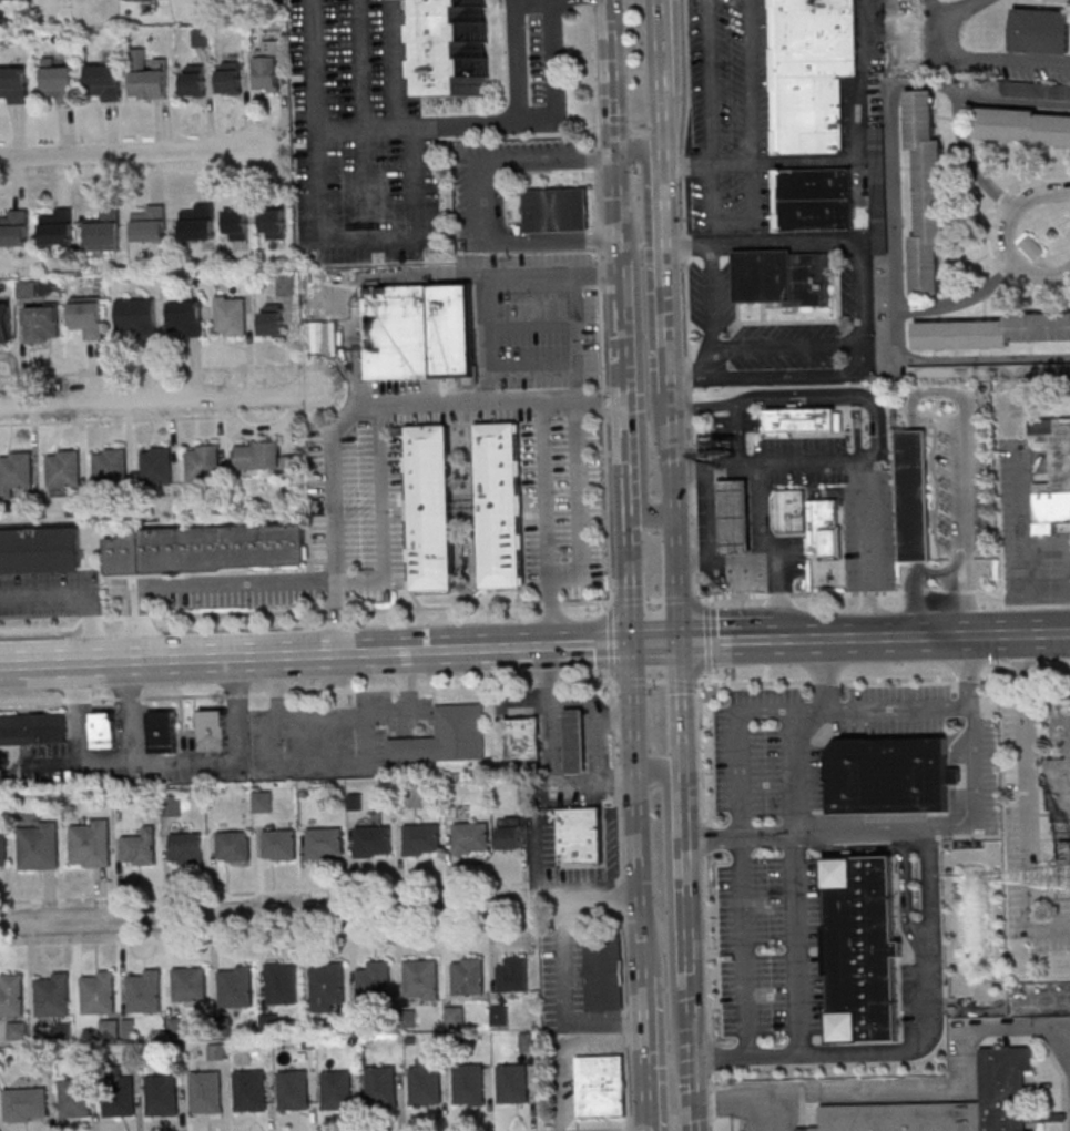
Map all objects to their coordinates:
building: (1041, 30)
building: (201, 38)
road: (659, 40)
building: (461, 47)
road: (979, 57)
road: (395, 63)
building: (268, 64)
road: (316, 65)
building: (813, 73)
building: (149, 75)
road: (611, 75)
building: (230, 78)
building: (193, 80)
building: (59, 81)
building: (104, 81)
road: (710, 82)
building: (13, 84)
road: (891, 108)
road: (537, 122)
building: (1022, 128)
road: (855, 150)
traffic signals: (614, 151)
road: (139, 155)
road: (507, 159)
road: (972, 160)
road: (687, 167)
building: (878, 174)
road: (319, 180)
building: (927, 194)
building: (814, 198)
building: (557, 210)
building: (196, 221)
building: (149, 223)
building: (273, 223)
building: (236, 224)
building: (58, 226)
building: (13, 227)
building: (104, 230)
road: (1008, 236)
road: (550, 242)
building: (1032, 246)
building: (782, 276)
road: (416, 277)
road: (652, 284)
building: (26, 288)
road: (600, 302)
road: (686, 302)
road: (712, 302)
building: (231, 315)
building: (88, 316)
building: (136, 316)
road: (862, 316)
building: (185, 318)
building: (272, 319)
building: (4, 323)
building: (41, 323)
building: (419, 332)
building: (992, 332)
road: (575, 339)
road: (787, 347)
road: (897, 356)
road: (670, 360)
road: (144, 369)
building: (989, 370)
road: (626, 396)
road: (159, 400)
road: (641, 405)
road: (374, 407)
building: (801, 419)
road: (882, 422)
building: (265, 458)
building: (202, 462)
building: (110, 465)
building: (155, 465)
road: (766, 465)
building: (62, 468)
building: (14, 471)
building: (1052, 475)
road: (915, 495)
building: (914, 496)
building: (499, 501)
road: (962, 503)
building: (429, 506)
building: (787, 510)
building: (732, 516)
gas station: (732, 516)
road: (551, 526)
building: (823, 529)
road: (1048, 544)
building: (206, 548)
building: (40, 550)
road: (773, 551)
road: (309, 581)
road: (80, 597)
road: (916, 599)
road: (304, 611)
road: (706, 636)
road: (888, 636)
road: (610, 640)
road: (694, 640)
road: (658, 641)
traffic signals: (681, 641)
traffic signals: (634, 642)
road: (317, 655)
road: (968, 670)
road: (822, 672)
road: (889, 677)
road: (305, 691)
road: (594, 705)
road: (792, 707)
road: (615, 719)
building: (1062, 721)
building: (32, 728)
building: (103, 730)
building: (213, 731)
building: (163, 732)
building: (446, 736)
building: (522, 738)
building: (573, 741)
gas station: (573, 741)
road: (105, 761)
road: (793, 771)
building: (888, 775)
building: (1059, 784)
road: (1025, 801)
building: (262, 802)
road: (640, 807)
road: (942, 829)
building: (511, 832)
building: (579, 835)
building: (471, 837)
road: (741, 837)
building: (422, 838)
building: (374, 840)
building: (90, 842)
building: (325, 843)
building: (38, 844)
building: (279, 844)
building: (234, 845)
building: (140, 847)
building: (186, 847)
building: (3, 850)
road: (537, 862)
road: (579, 885)
road: (687, 886)
road: (309, 890)
road: (706, 896)
road: (619, 904)
road: (322, 913)
road: (672, 921)
road: (308, 930)
road: (799, 942)
road: (745, 946)
building: (859, 948)
building: (513, 975)
building: (603, 975)
building: (468, 976)
building: (421, 979)
building: (375, 981)
building: (282, 982)
building: (190, 984)
building: (236, 986)
building: (328, 986)
building: (143, 987)
building: (98, 991)
building: (52, 994)
building: (11, 995)
road: (561, 1006)
building: (500, 1015)
building: (455, 1016)
building: (110, 1029)
building: (17, 1030)
road: (915, 1047)
building: (217, 1051)
road: (648, 1052)
building: (0, 1059)
building: (426, 1080)
building: (512, 1082)
building: (468, 1083)
building: (601, 1086)
building: (381, 1087)
road: (949, 1088)
building: (293, 1089)
building: (249, 1090)
building: (337, 1090)
building: (119, 1092)
building: (205, 1092)
building: (162, 1093)
building: (75, 1097)
road: (1067, 1097)
road: (746, 1101)
building: (24, 1103)
building: (955, 1104)
road: (4, 1124)
road: (581, 1130)

